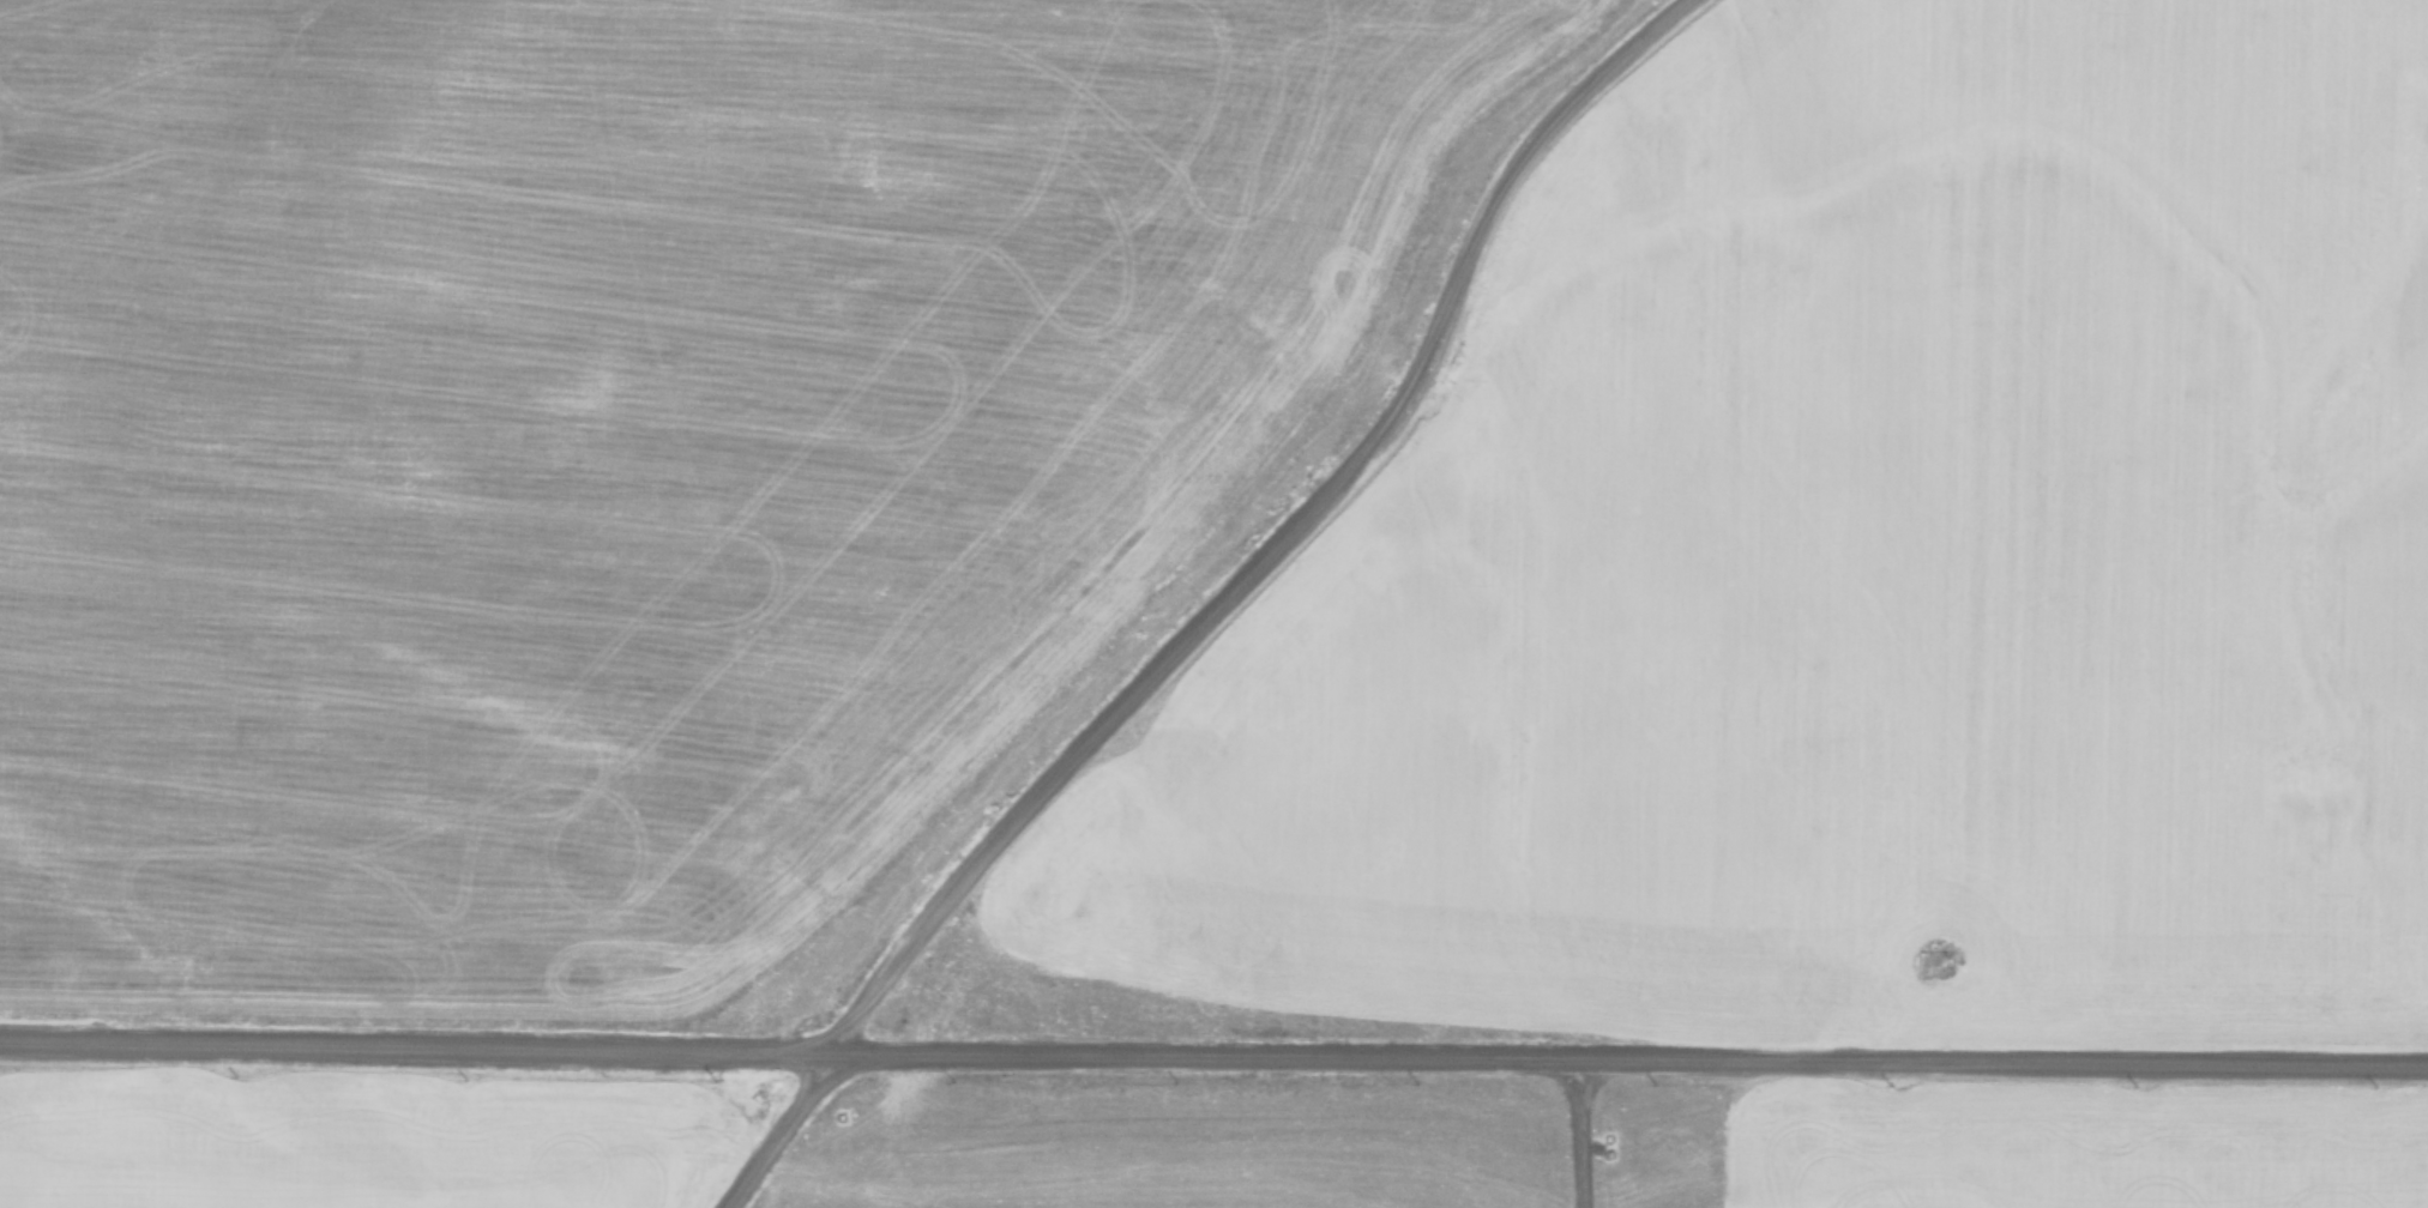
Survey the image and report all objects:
road: (1205, 606)
road: (1213, 1051)
road: (1576, 1130)

